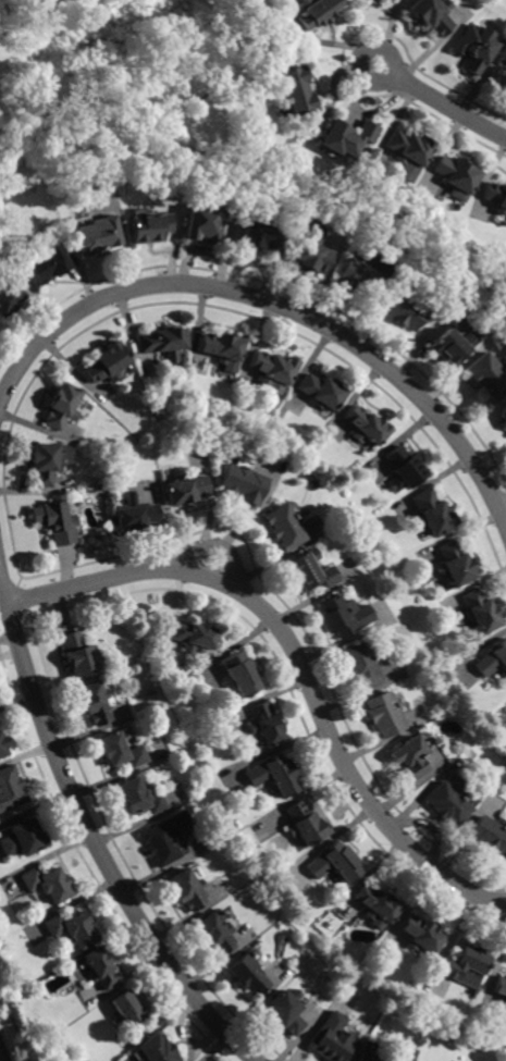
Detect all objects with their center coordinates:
building: (377, 0)
building: (317, 13)
building: (431, 15)
building: (474, 49)
building: (499, 82)
building: (294, 91)
road: (441, 101)
building: (345, 138)
building: (408, 150)
building: (455, 174)
building: (496, 198)
building: (202, 225)
building: (150, 229)
building: (98, 236)
building: (256, 237)
building: (307, 256)
building: (47, 264)
building: (356, 279)
building: (9, 297)
road: (274, 304)
building: (403, 312)
building: (163, 345)
building: (454, 345)
building: (221, 347)
building: (107, 365)
building: (272, 369)
building: (488, 377)
building: (321, 392)
building: (62, 407)
building: (504, 424)
building: (366, 428)
building: (48, 462)
building: (404, 470)
building: (244, 484)
building: (185, 490)
road: (503, 507)
building: (432, 514)
building: (136, 515)
building: (57, 522)
building: (285, 528)
building: (455, 565)
building: (312, 572)
building: (480, 613)
building: (345, 617)
building: (196, 637)
building: (79, 656)
building: (492, 659)
road: (300, 661)
building: (361, 667)
building: (243, 676)
building: (95, 704)
building: (384, 716)
building: (264, 725)
building: (2, 748)
building: (122, 752)
building: (411, 757)
building: (274, 776)
building: (11, 790)
building: (140, 799)
building: (448, 806)
building: (305, 826)
road: (91, 831)
building: (489, 837)
building: (23, 840)
building: (166, 840)
building: (336, 864)
building: (48, 885)
building: (187, 891)
building: (378, 905)
building: (73, 929)
building: (217, 934)
building: (421, 936)
building: (466, 965)
building: (100, 970)
building: (248, 977)
building: (501, 986)
building: (505, 1006)
building: (129, 1009)
building: (286, 1013)
building: (333, 1040)
building: (157, 1050)
road: (1, 1058)
building: (365, 1058)

